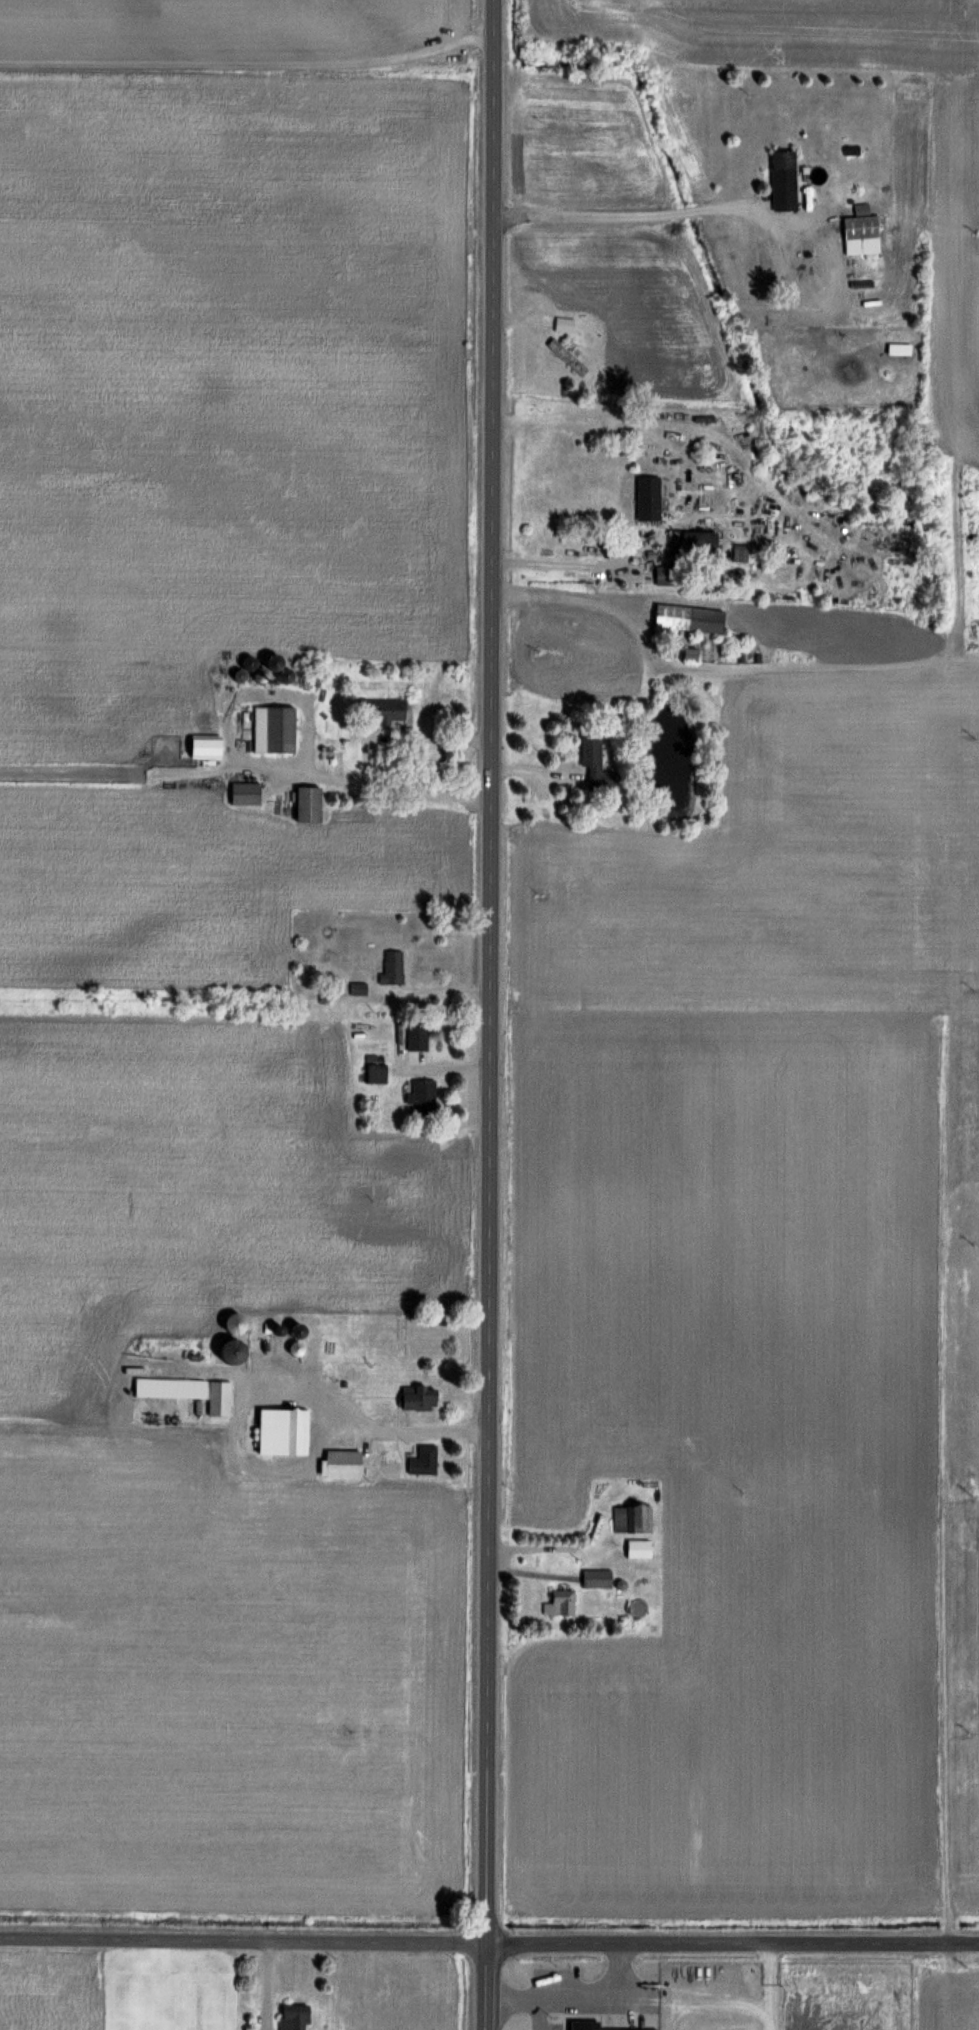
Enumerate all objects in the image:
building: (783, 180)
road: (631, 216)
building: (860, 231)
building: (768, 266)
building: (565, 325)
building: (567, 356)
building: (648, 497)
building: (698, 542)
building: (740, 551)
road: (555, 563)
building: (668, 574)
building: (685, 620)
building: (284, 674)
building: (386, 710)
building: (274, 728)
building: (205, 746)
building: (595, 762)
building: (245, 793)
building: (308, 803)
building: (393, 966)
building: (358, 988)
road: (491, 1015)
building: (416, 1034)
building: (376, 1072)
building: (421, 1092)
building: (234, 1322)
building: (297, 1330)
building: (296, 1348)
building: (231, 1351)
building: (190, 1391)
building: (419, 1398)
building: (285, 1431)
building: (424, 1461)
building: (343, 1463)
building: (632, 1519)
building: (596, 1578)
building: (563, 1602)
road: (489, 1943)
building: (293, 2017)
building: (584, 2025)

